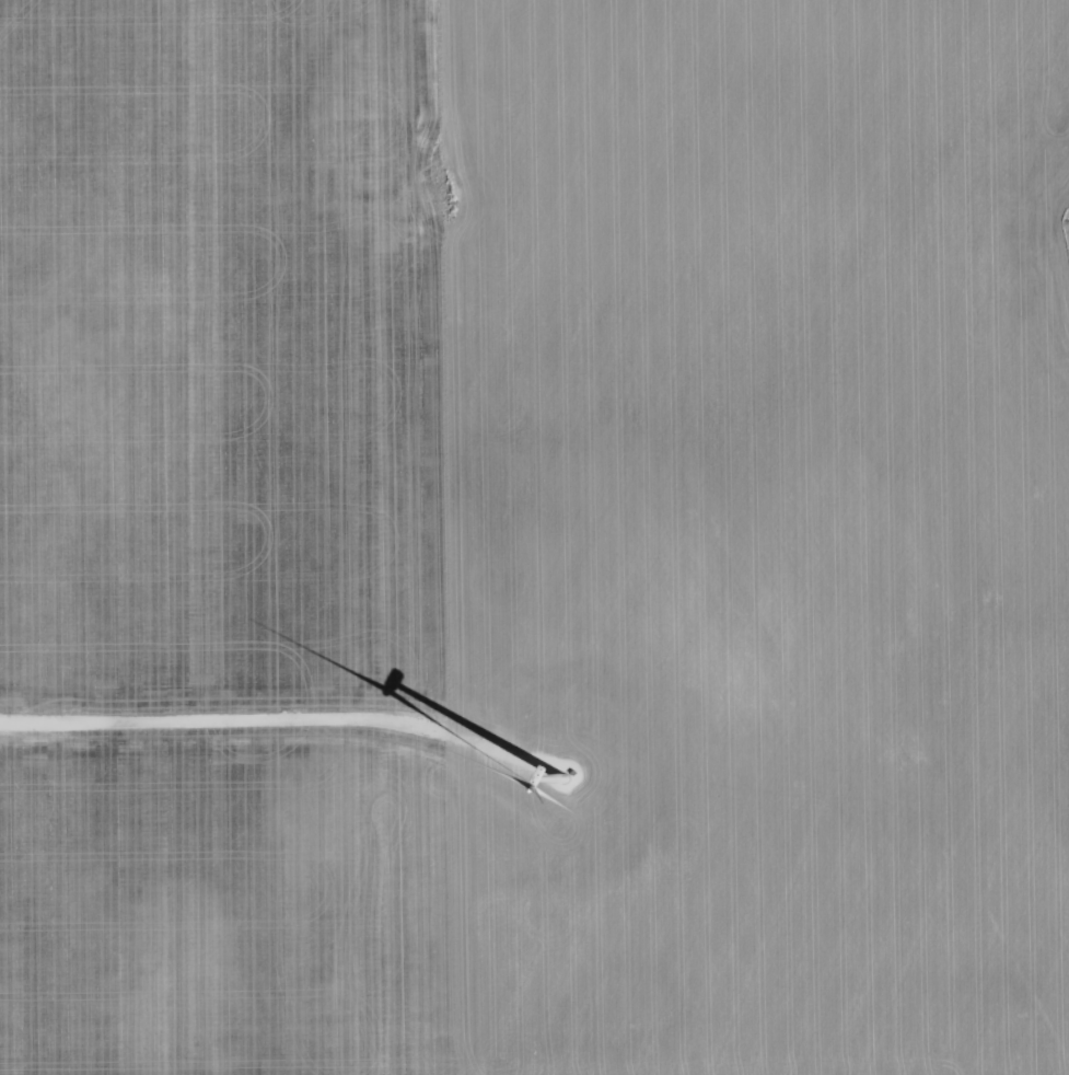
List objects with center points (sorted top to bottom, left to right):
wind turbine: (559, 775)

